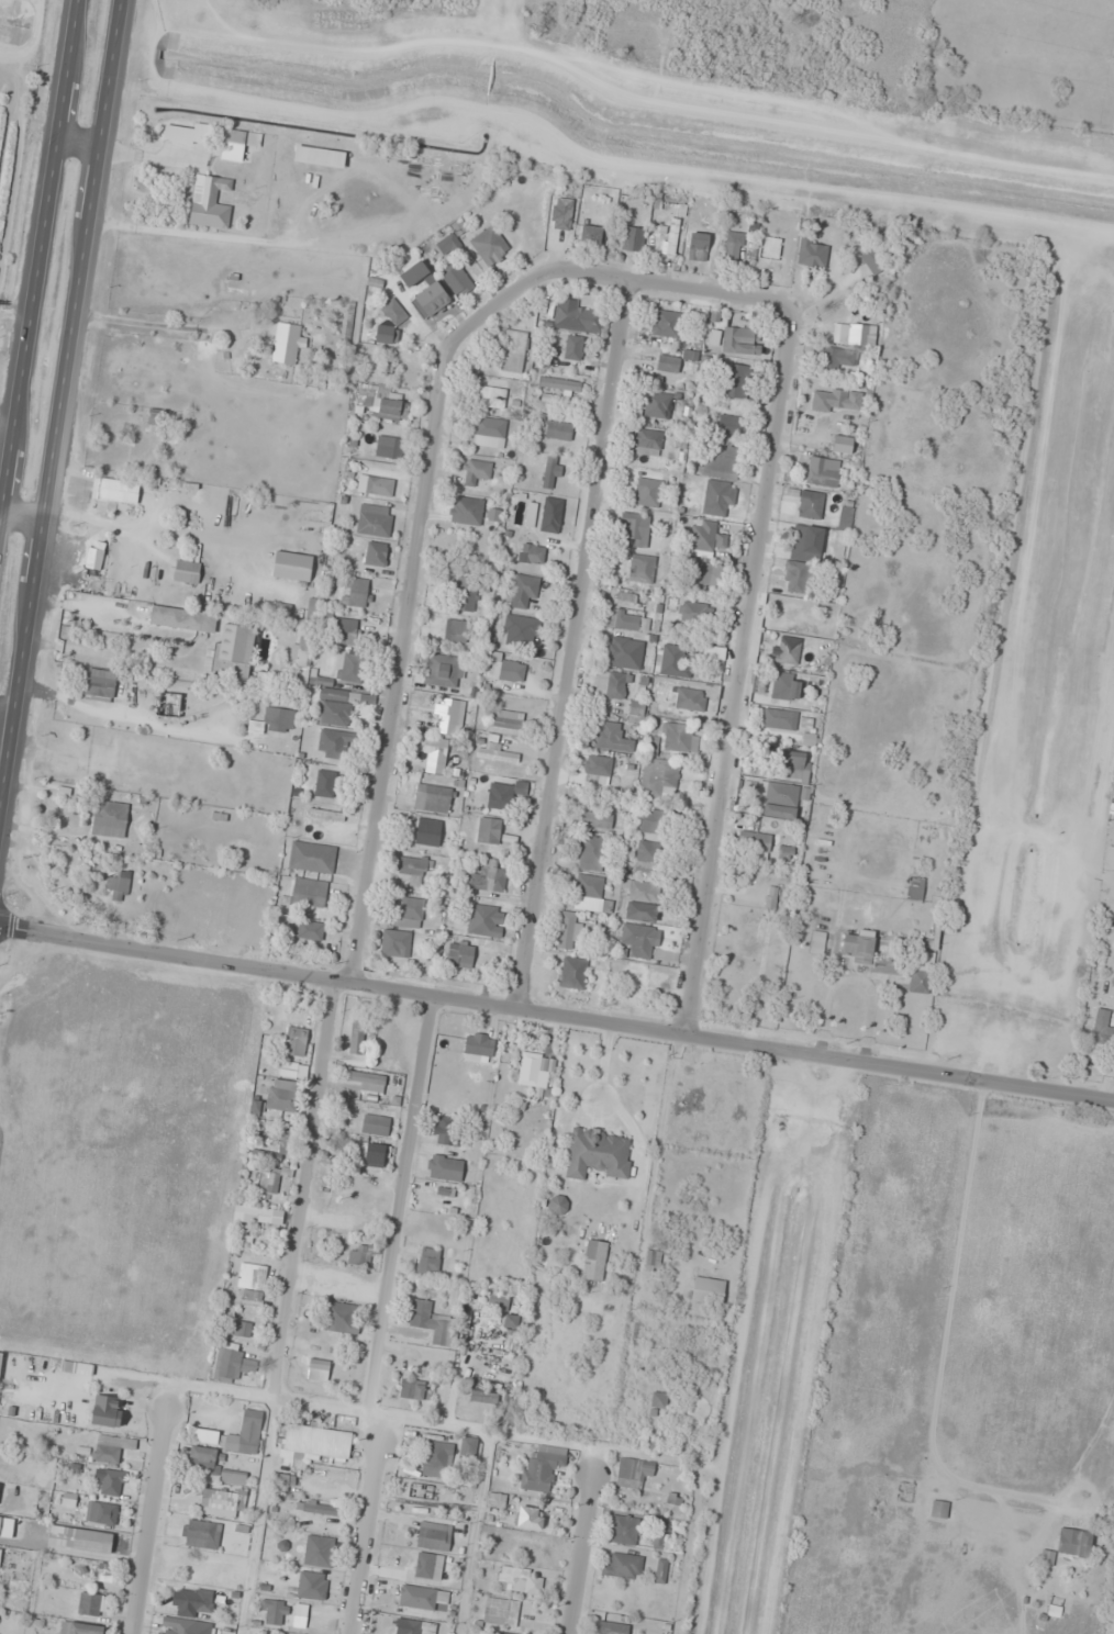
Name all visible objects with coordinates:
building: (242, 138)
road: (78, 142)
building: (209, 202)
building: (591, 234)
building: (633, 239)
building: (661, 242)
building: (447, 244)
building: (697, 244)
building: (489, 245)
building: (733, 248)
building: (783, 253)
building: (812, 254)
road: (40, 259)
building: (457, 279)
road: (610, 281)
building: (432, 299)
building: (394, 313)
building: (577, 316)
building: (666, 324)
building: (854, 334)
railway: (51, 335)
building: (740, 340)
building: (287, 344)
building: (573, 348)
building: (514, 351)
building: (840, 359)
building: (668, 363)
building: (739, 374)
building: (559, 383)
building: (492, 396)
building: (836, 400)
road: (60, 402)
building: (390, 405)
building: (657, 405)
building: (731, 424)
building: (559, 429)
building: (489, 433)
building: (647, 443)
building: (843, 444)
building: (388, 447)
building: (722, 460)
building: (550, 471)
building: (476, 472)
building: (822, 473)
building: (375, 485)
building: (109, 490)
building: (649, 492)
building: (717, 497)
building: (811, 504)
building: (467, 511)
building: (492, 515)
road: (22, 516)
building: (375, 522)
building: (635, 530)
building: (704, 539)
building: (806, 542)
building: (376, 555)
building: (532, 555)
building: (291, 566)
building: (642, 569)
building: (187, 572)
building: (698, 577)
building: (798, 578)
building: (521, 590)
building: (355, 591)
building: (466, 594)
road: (123, 608)
building: (693, 613)
building: (794, 614)
building: (182, 619)
building: (630, 619)
building: (521, 630)
building: (455, 631)
building: (345, 636)
road: (577, 648)
building: (789, 650)
building: (233, 651)
building: (627, 657)
building: (673, 661)
road: (400, 664)
building: (350, 668)
building: (504, 670)
building: (442, 671)
road: (737, 674)
building: (267, 679)
building: (100, 684)
building: (612, 684)
building: (786, 686)
building: (665, 696)
building: (690, 700)
building: (335, 708)
building: (448, 716)
building: (615, 716)
building: (509, 719)
building: (780, 719)
building: (274, 721)
building: (612, 736)
building: (680, 738)
building: (334, 743)
building: (109, 749)
building: (493, 752)
building: (435, 756)
building: (598, 765)
building: (792, 765)
building: (661, 777)
building: (325, 783)
building: (500, 796)
building: (433, 798)
building: (780, 802)
building: (325, 815)
building: (109, 818)
building: (597, 818)
building: (651, 821)
building: (489, 825)
building: (428, 831)
building: (755, 841)
building: (786, 852)
building: (591, 853)
building: (311, 858)
building: (646, 859)
building: (1110, 859)
building: (413, 870)
building: (486, 880)
building: (118, 883)
building: (915, 888)
building: (644, 891)
building: (309, 892)
building: (590, 894)
building: (771, 898)
building: (640, 911)
building: (409, 913)
building: (484, 920)
building: (310, 930)
building: (569, 930)
building: (640, 940)
building: (817, 942)
building: (396, 943)
building: (859, 945)
building: (460, 953)
building: (572, 973)
building: (922, 974)
building: (635, 981)
road: (556, 1017)
building: (1103, 1028)
building: (356, 1036)
building: (294, 1041)
building: (479, 1044)
building: (289, 1070)
building: (534, 1072)
building: (368, 1082)
building: (282, 1096)
building: (376, 1121)
building: (446, 1131)
building: (287, 1144)
building: (598, 1153)
building: (372, 1154)
building: (444, 1167)
building: (270, 1180)
road: (303, 1191)
building: (559, 1202)
road: (401, 1208)
building: (253, 1215)
building: (358, 1255)
building: (594, 1261)
building: (653, 1261)
building: (428, 1262)
building: (250, 1283)
building: (708, 1290)
building: (498, 1300)
building: (342, 1318)
building: (512, 1321)
building: (431, 1322)
building: (241, 1328)
building: (511, 1342)
building: (0, 1359)
building: (231, 1363)
building: (76, 1367)
building: (318, 1369)
building: (412, 1389)
building: (483, 1396)
road: (261, 1398)
building: (661, 1401)
building: (105, 1410)
building: (247, 1433)
building: (315, 1443)
building: (468, 1447)
building: (110, 1448)
building: (202, 1454)
building: (436, 1459)
building: (542, 1468)
building: (633, 1471)
building: (233, 1477)
building: (322, 1478)
building: (113, 1482)
building: (279, 1482)
building: (904, 1493)
building: (495, 1500)
building: (222, 1503)
building: (887, 1503)
building: (939, 1509)
building: (103, 1513)
building: (530, 1518)
building: (0, 1523)
road: (368, 1527)
building: (624, 1530)
building: (658, 1530)
building: (199, 1533)
building: (434, 1536)
building: (80, 1538)
road: (582, 1541)
building: (1074, 1542)
building: (520, 1543)
building: (319, 1551)
building: (0, 1552)
building: (623, 1565)
building: (660, 1571)
building: (107, 1573)
building: (513, 1578)
building: (312, 1586)
building: (644, 1594)
building: (417, 1597)
building: (193, 1602)
building: (89, 1603)
building: (276, 1612)
building: (501, 1612)
building: (179, 1626)
building: (417, 1627)
building: (612, 1627)
building: (79, 1629)

